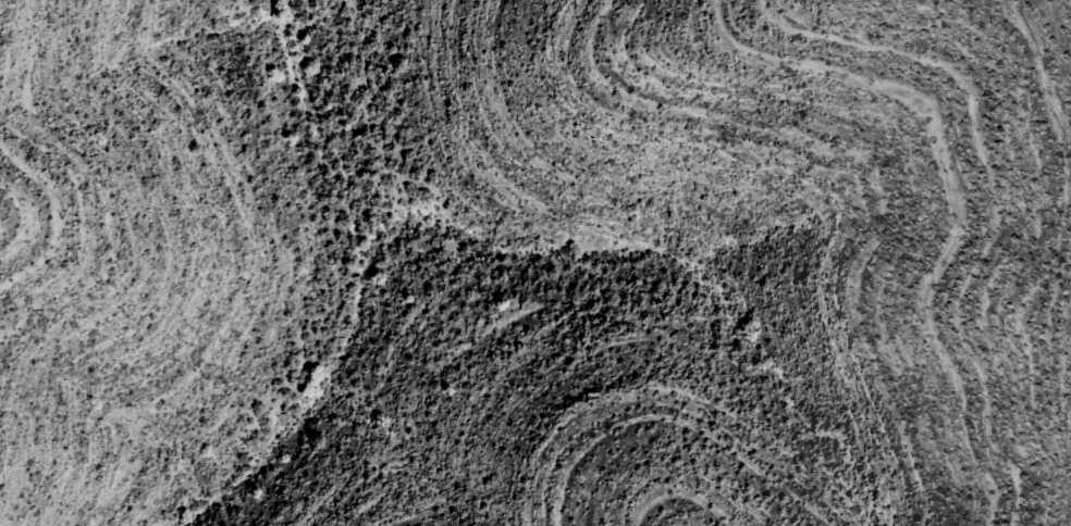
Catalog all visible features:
road: (1022, 121)

